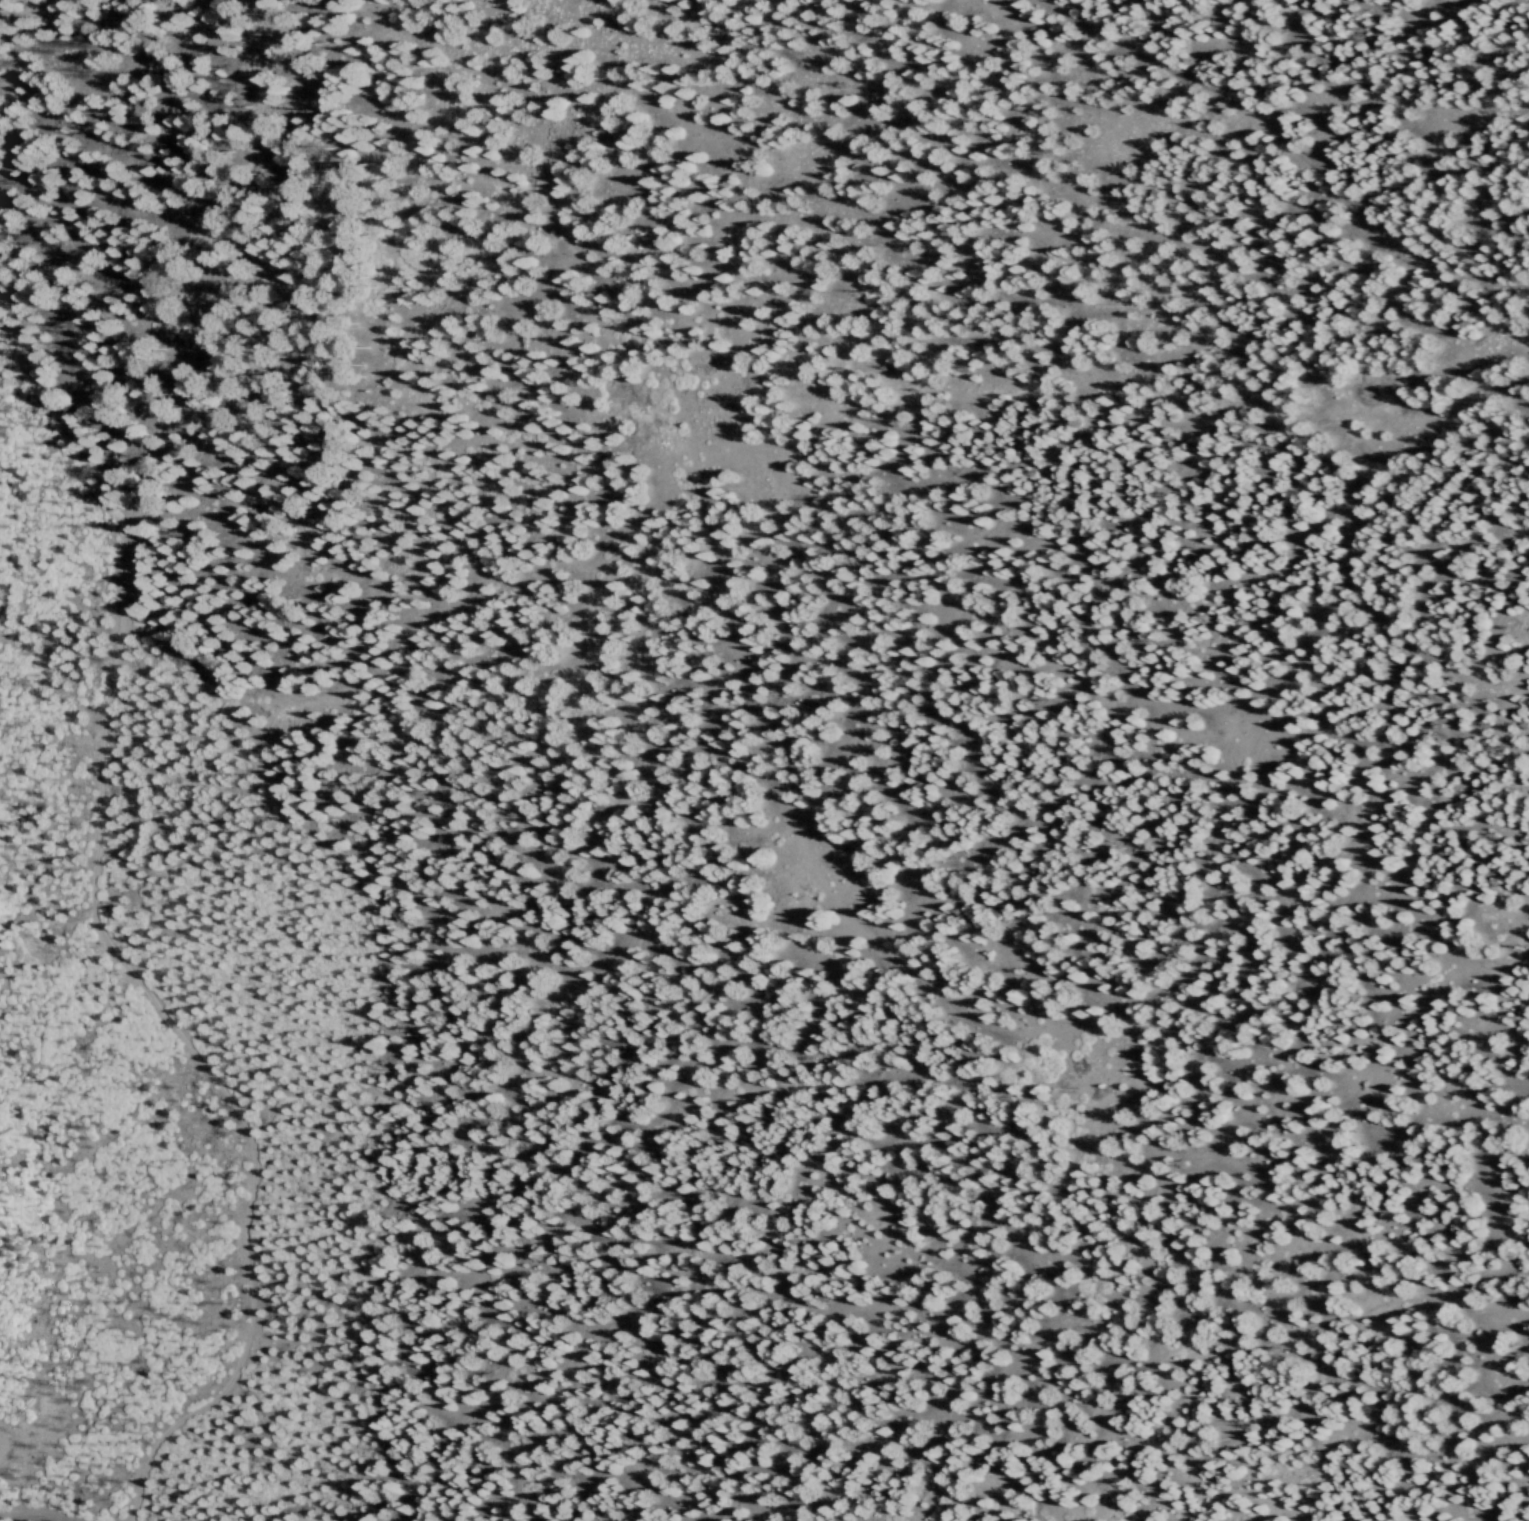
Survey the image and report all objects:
road: (161, 388)
road: (42, 1511)

